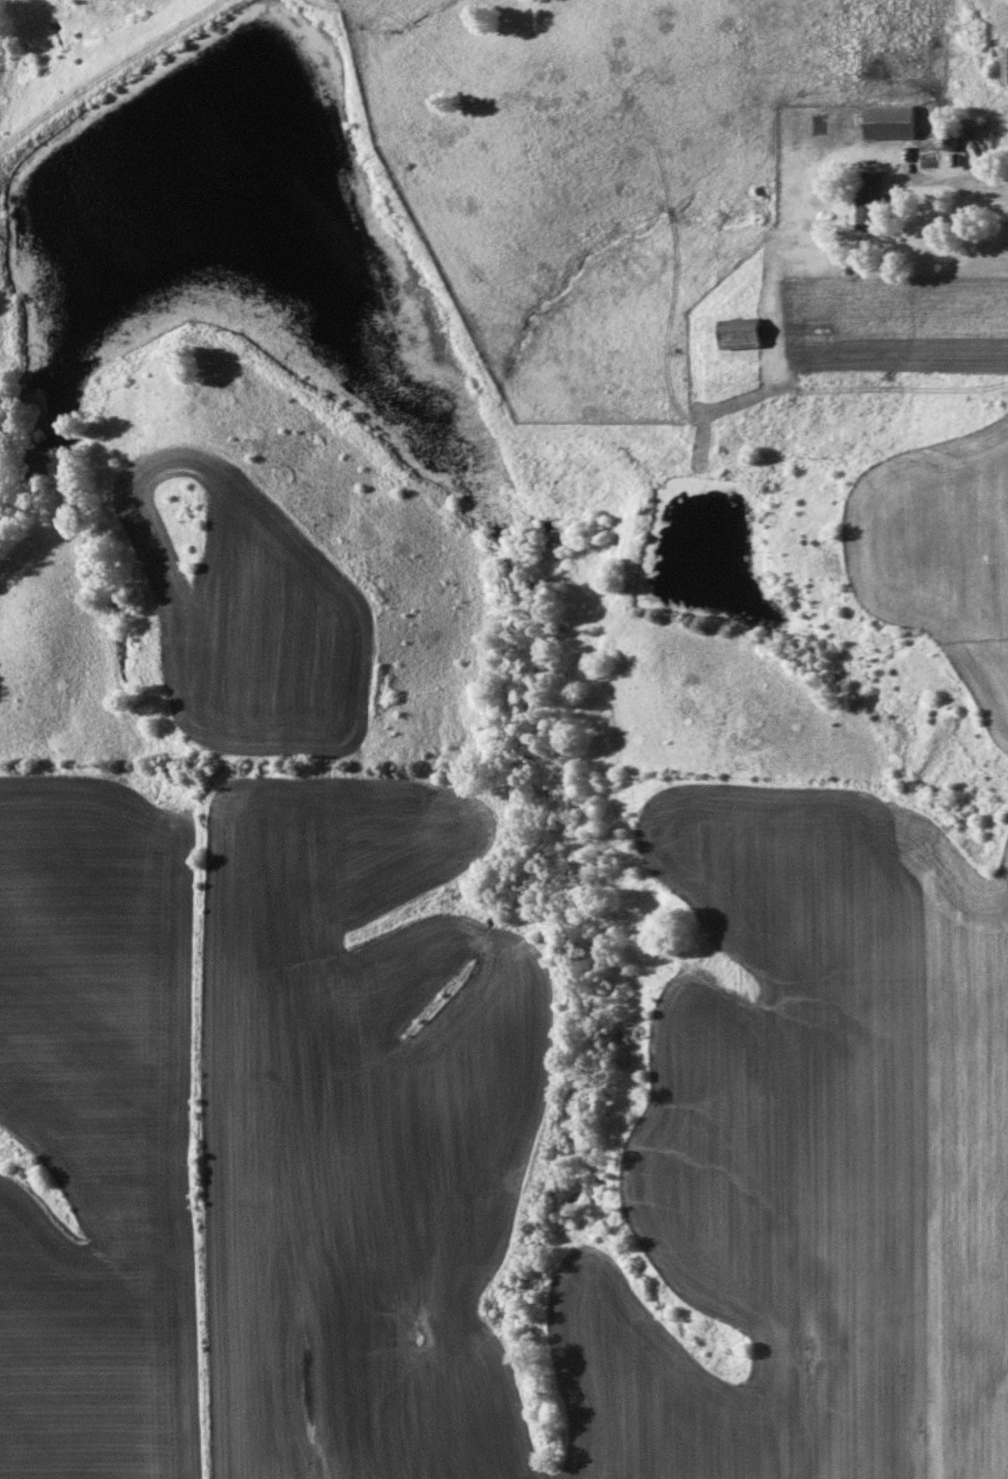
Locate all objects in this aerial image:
dam: (137, 86)
building: (893, 122)
road: (950, 178)

